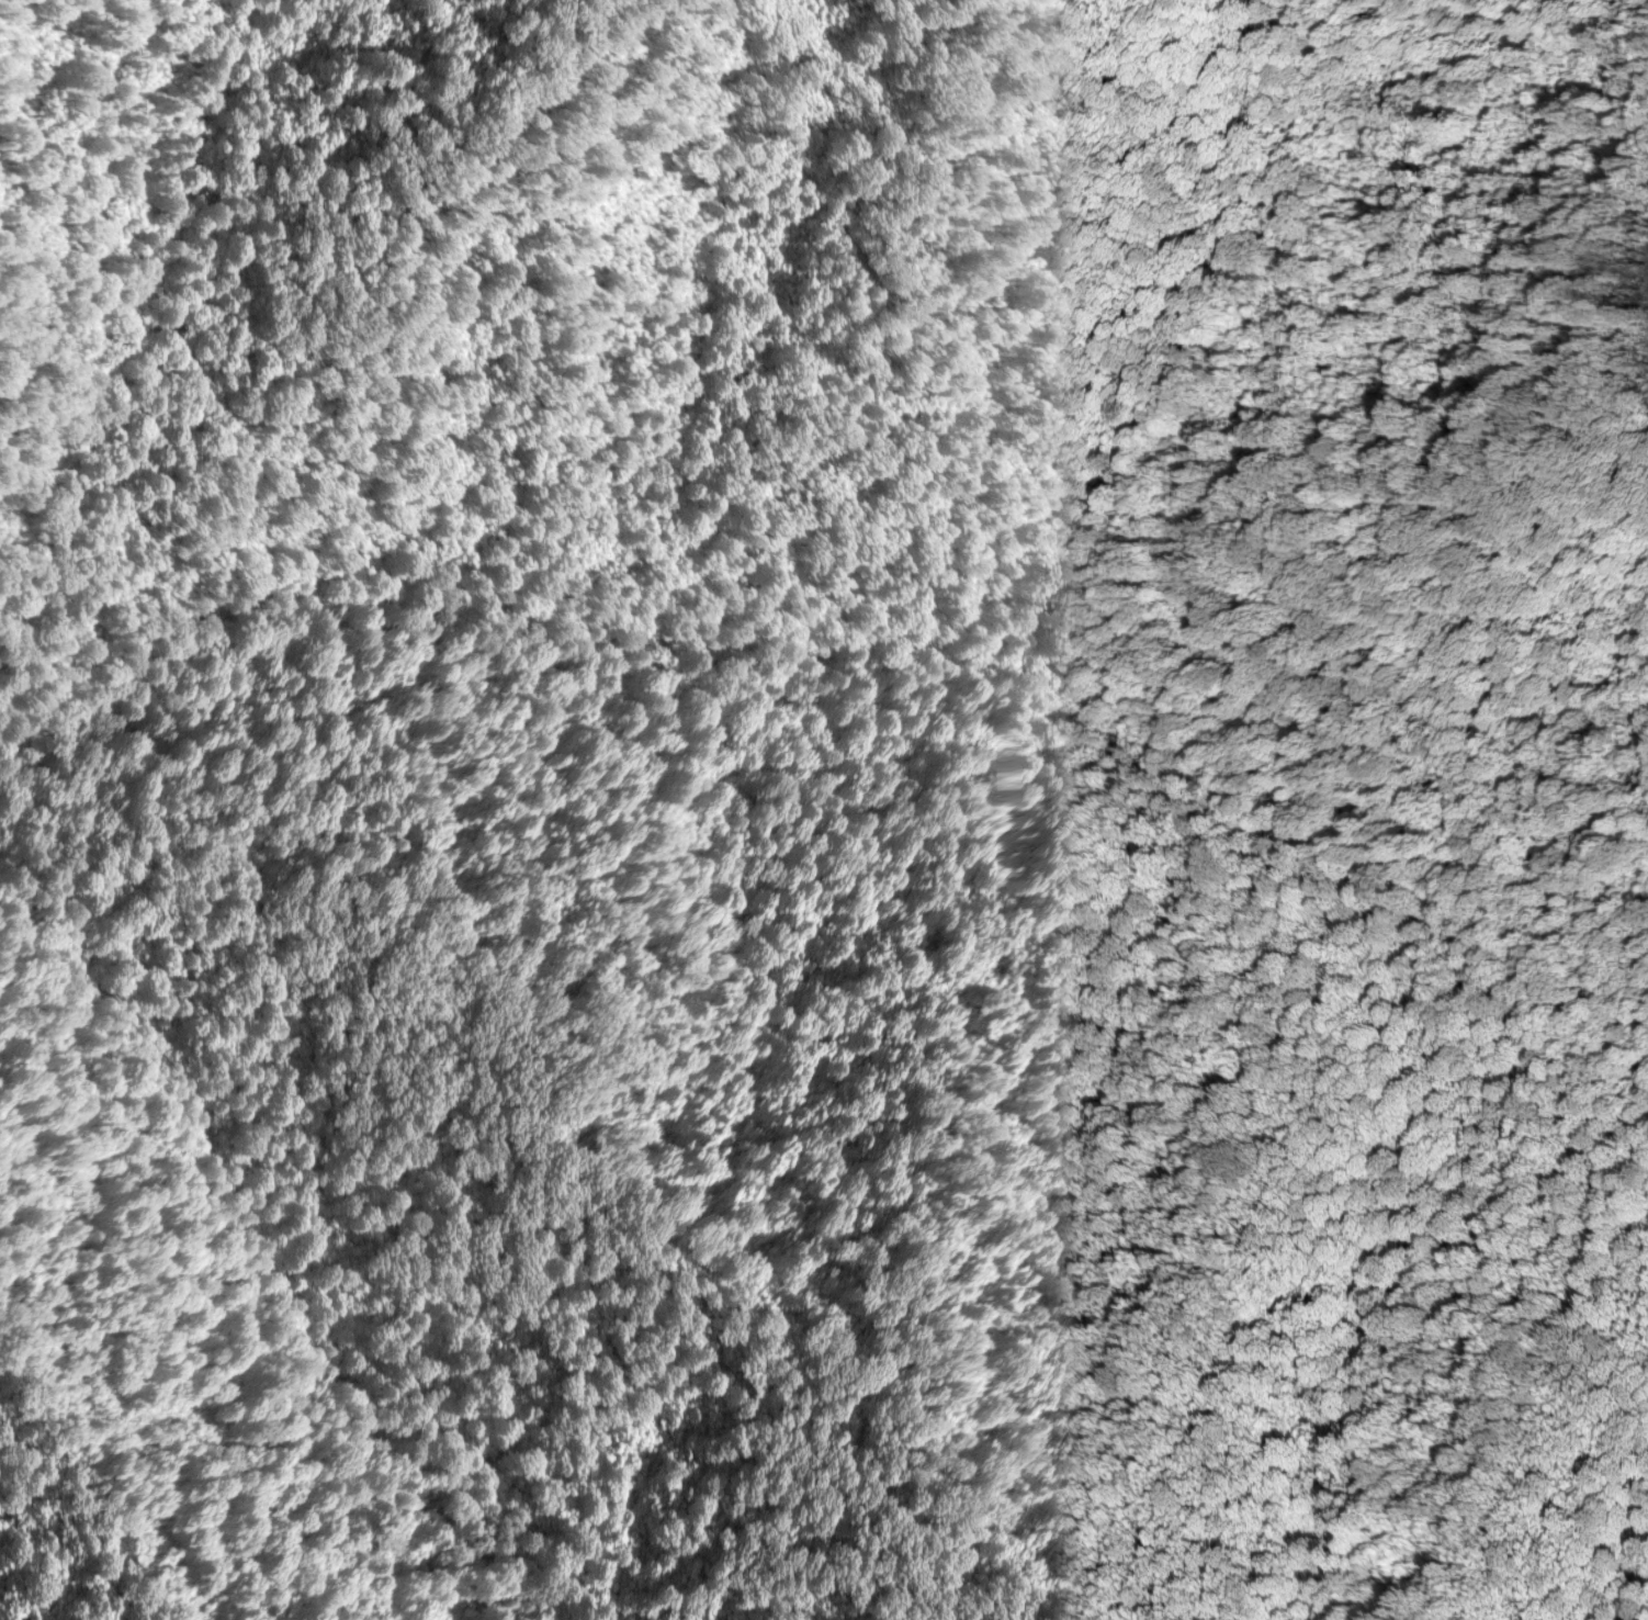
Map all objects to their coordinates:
quarry: (1626, 67)

